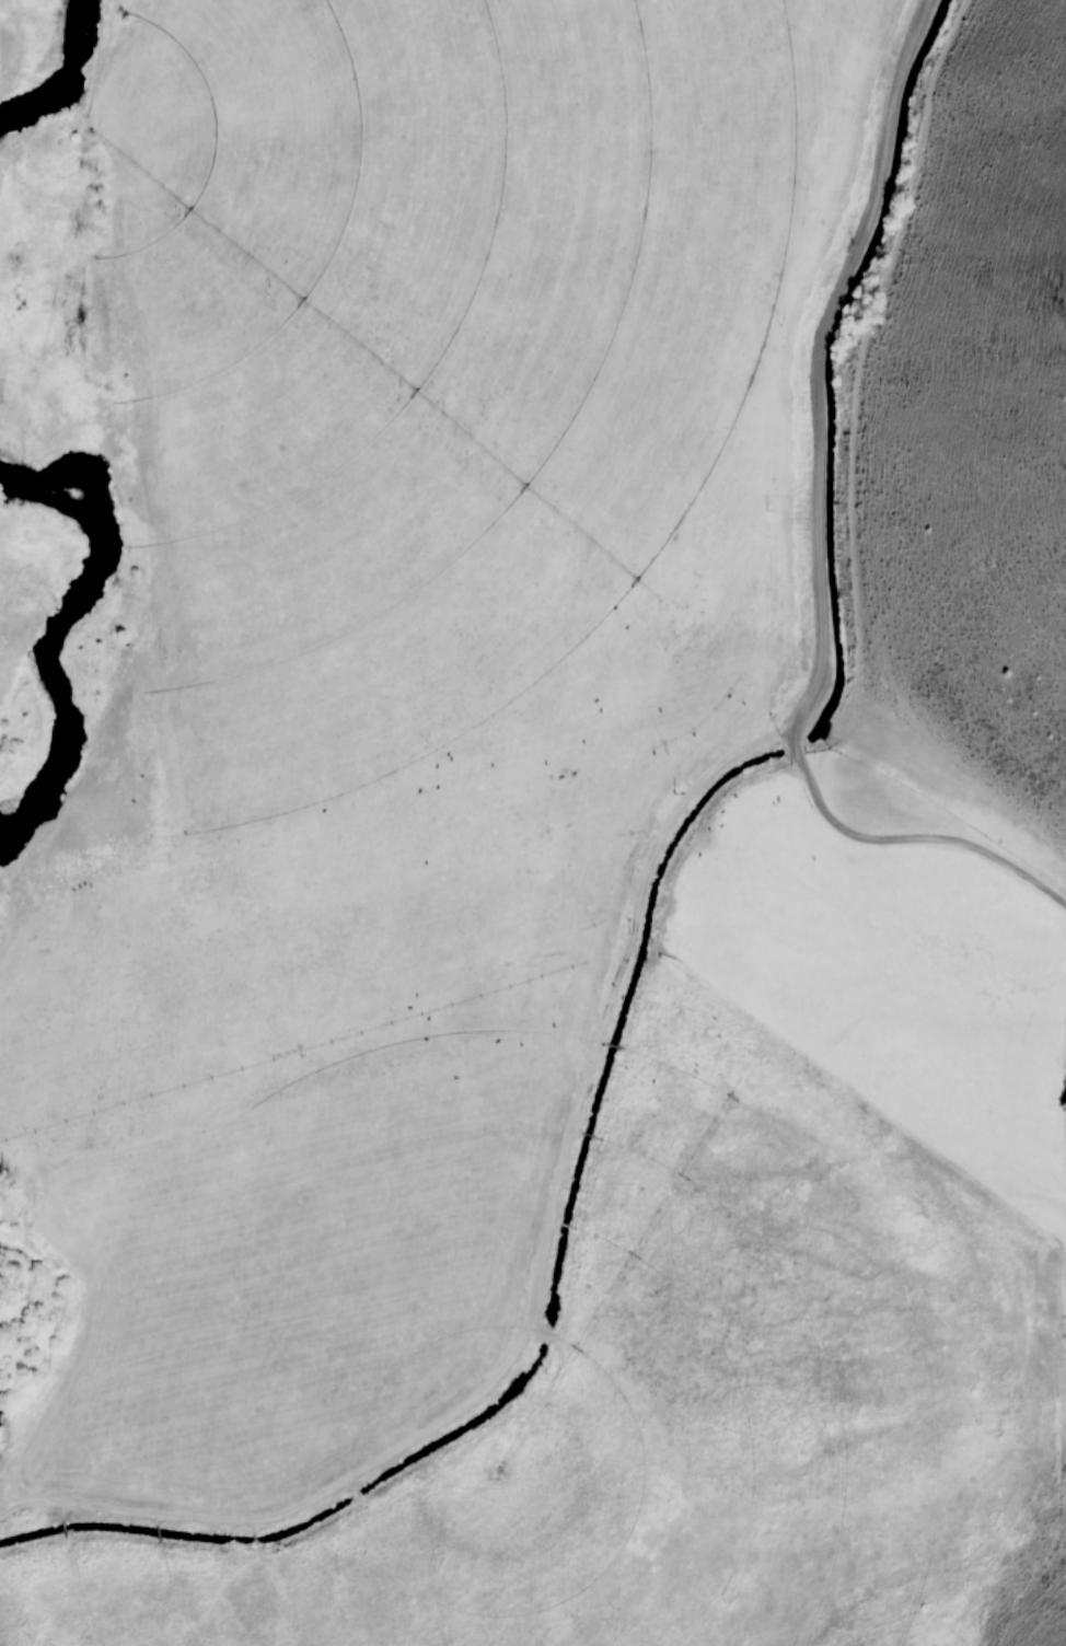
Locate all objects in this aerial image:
river: (65, 83)
river: (57, 623)

